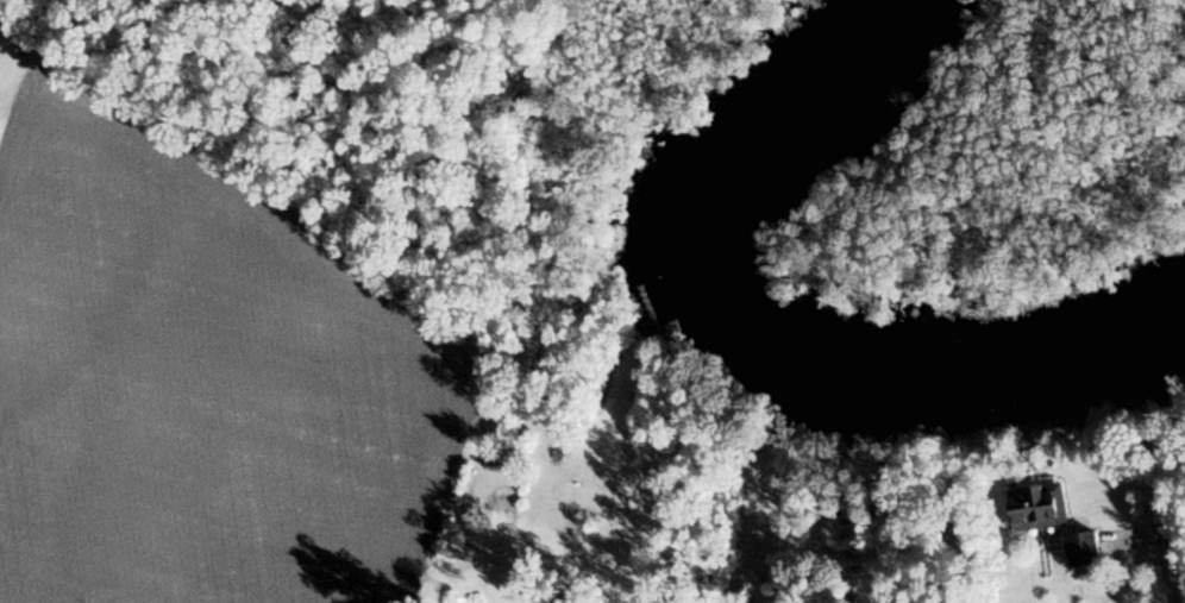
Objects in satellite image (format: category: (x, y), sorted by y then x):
park: (1023, 156)
building: (1034, 505)
building: (1084, 548)
road: (1177, 554)

